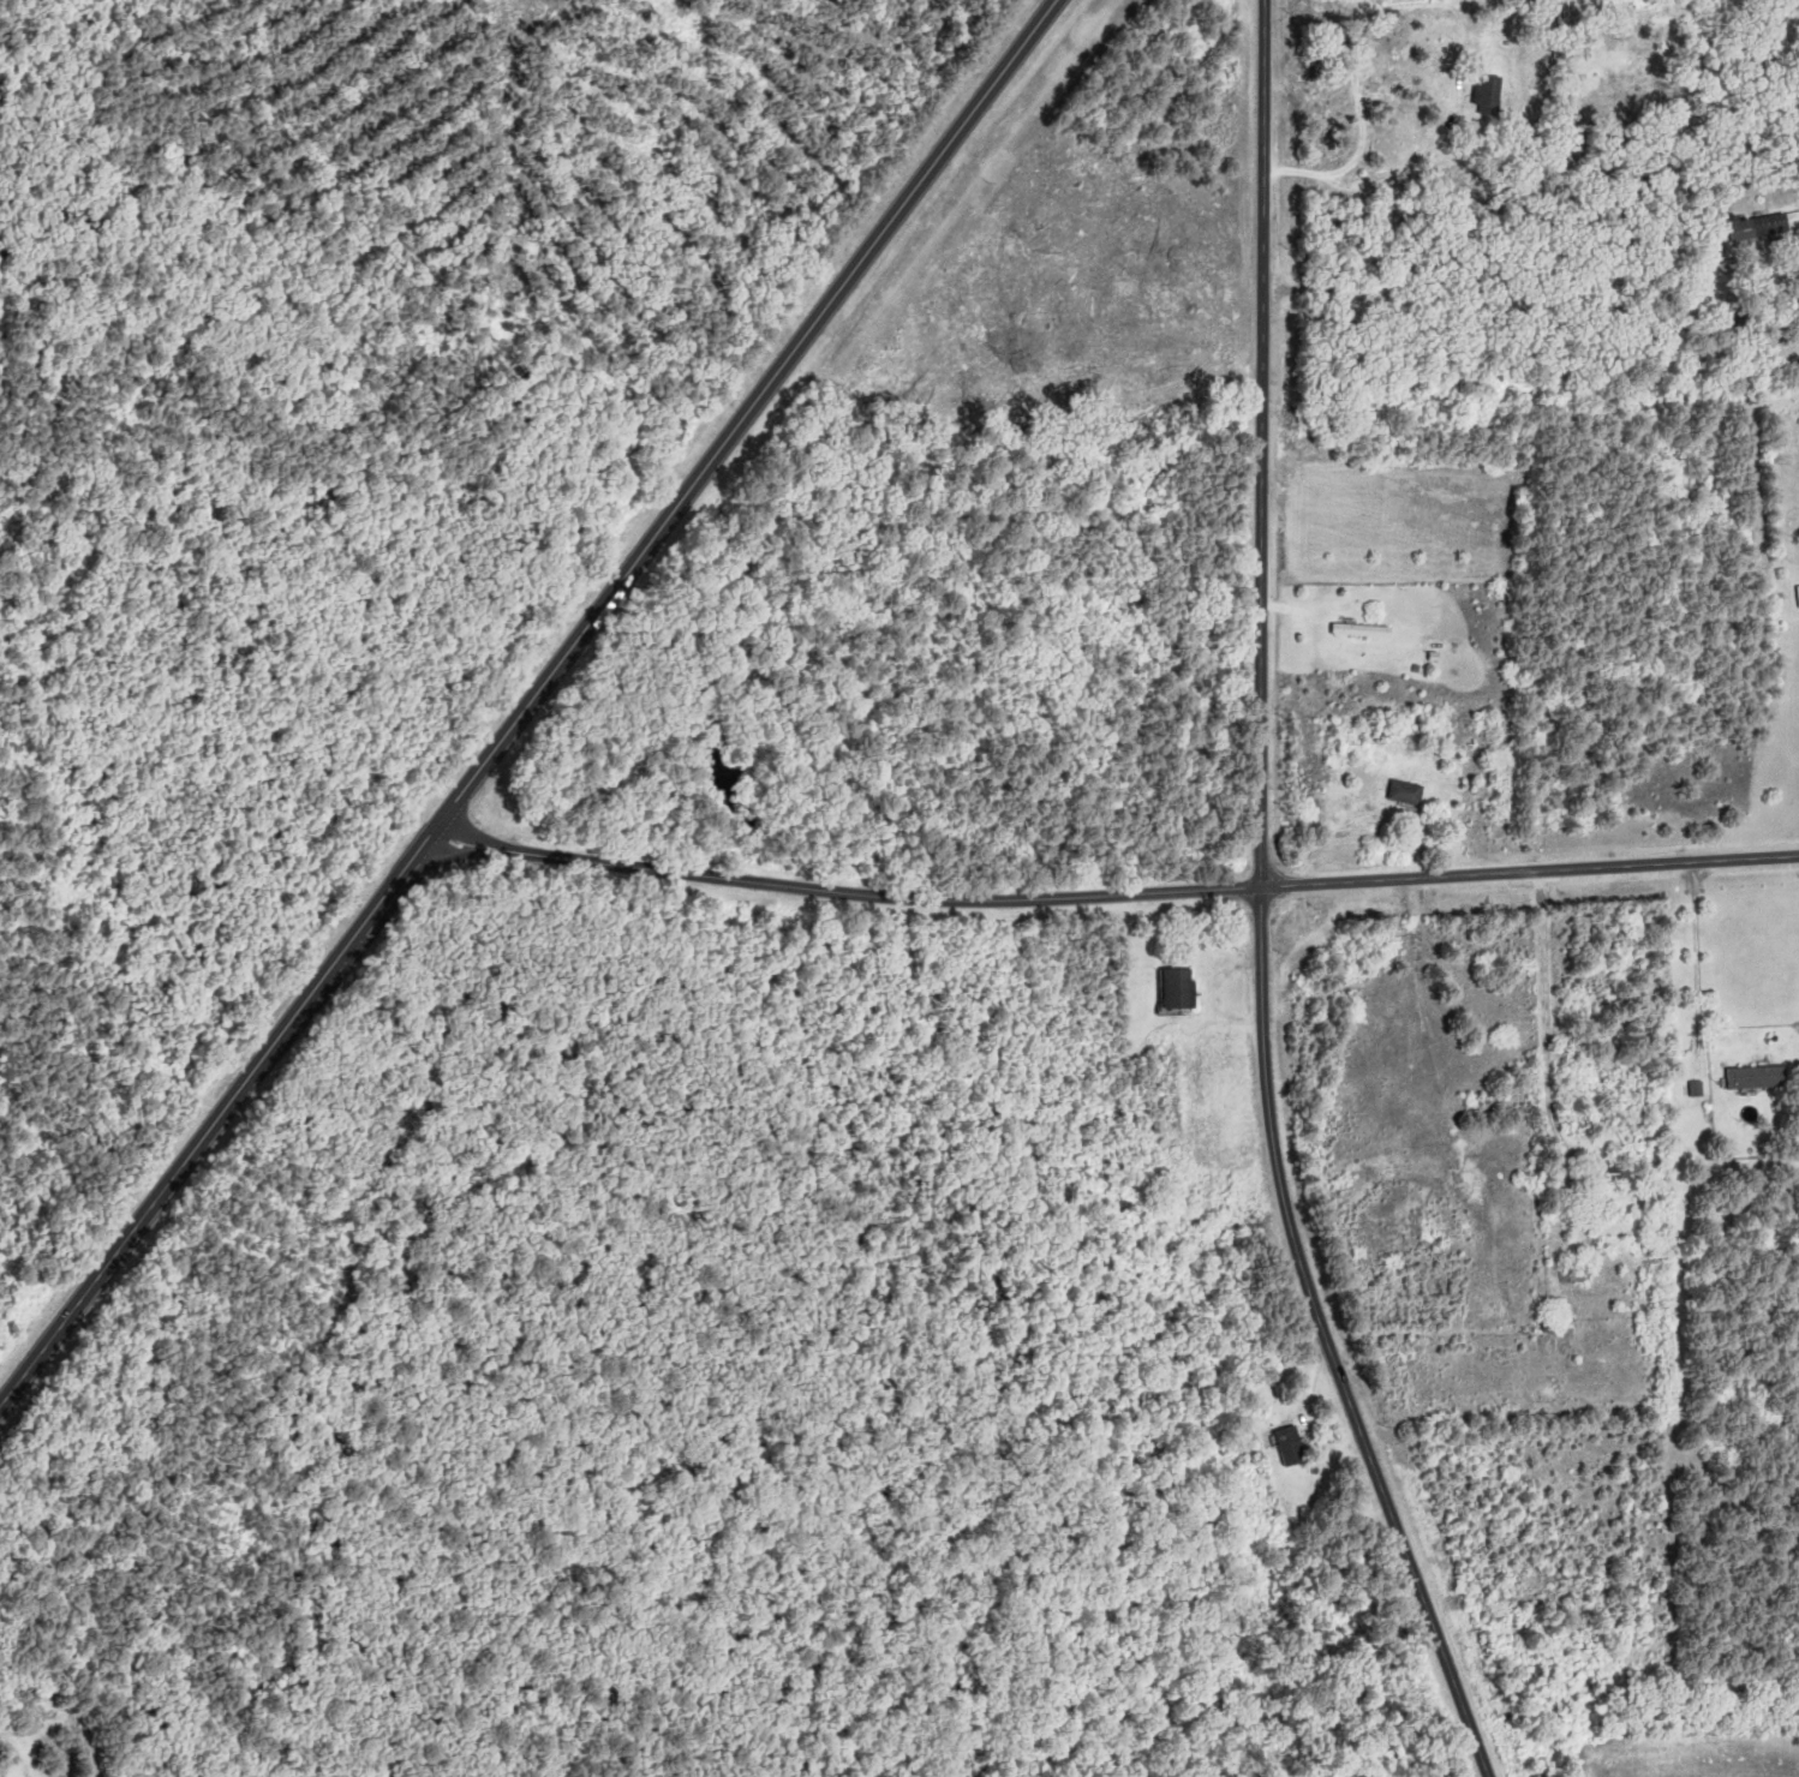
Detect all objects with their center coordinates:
building: (1493, 95)
road: (1365, 120)
building: (1765, 226)
road: (1507, 243)
building: (1364, 630)
road: (528, 702)
building: (1410, 794)
road: (1113, 896)
road: (1269, 907)
building: (1183, 989)
building: (1762, 1077)
building: (1624, 1174)
building: (1582, 1272)
building: (1295, 1447)

